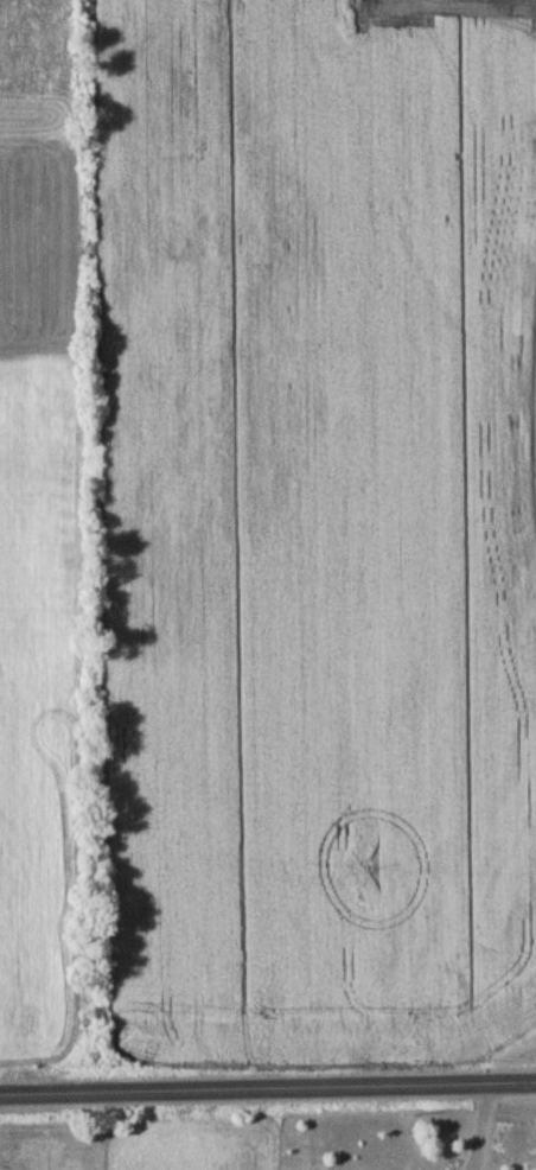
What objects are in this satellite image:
road: (268, 1089)
road: (484, 1127)

